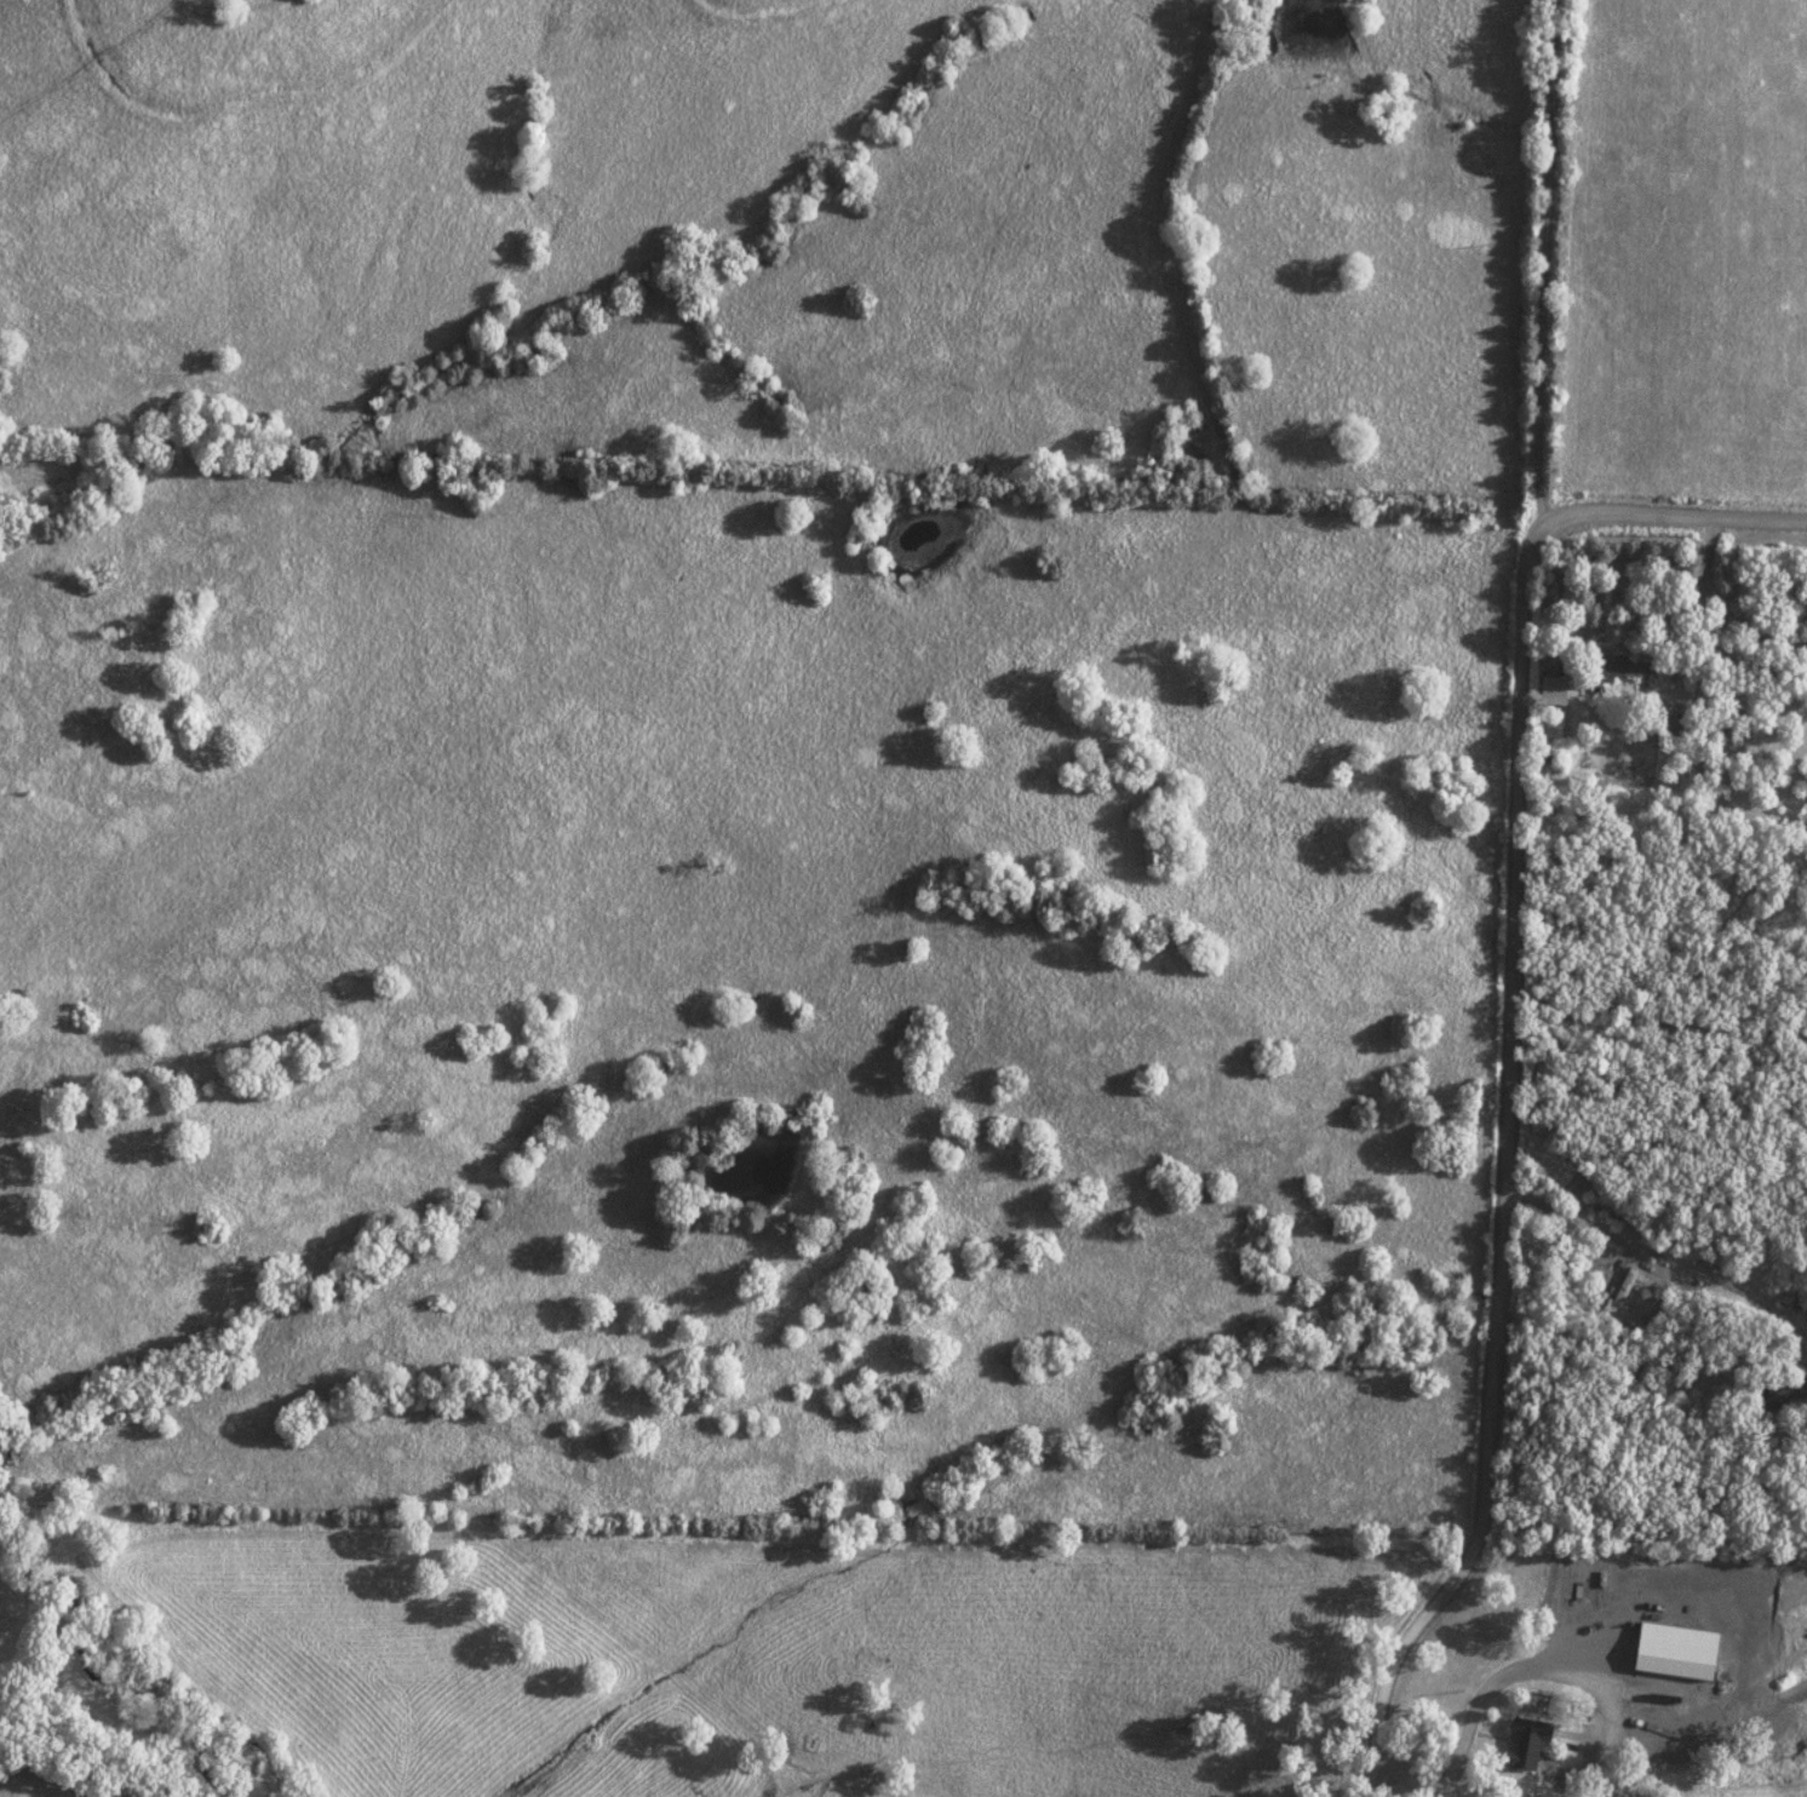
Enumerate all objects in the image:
road: (1668, 519)
building: (1633, 667)
building: (1551, 689)
building: (1674, 724)
road: (1510, 912)
road: (1682, 1258)
building: (1790, 1298)
building: (1784, 1391)
road: (1549, 1672)
building: (1519, 1743)
road: (1409, 1780)

